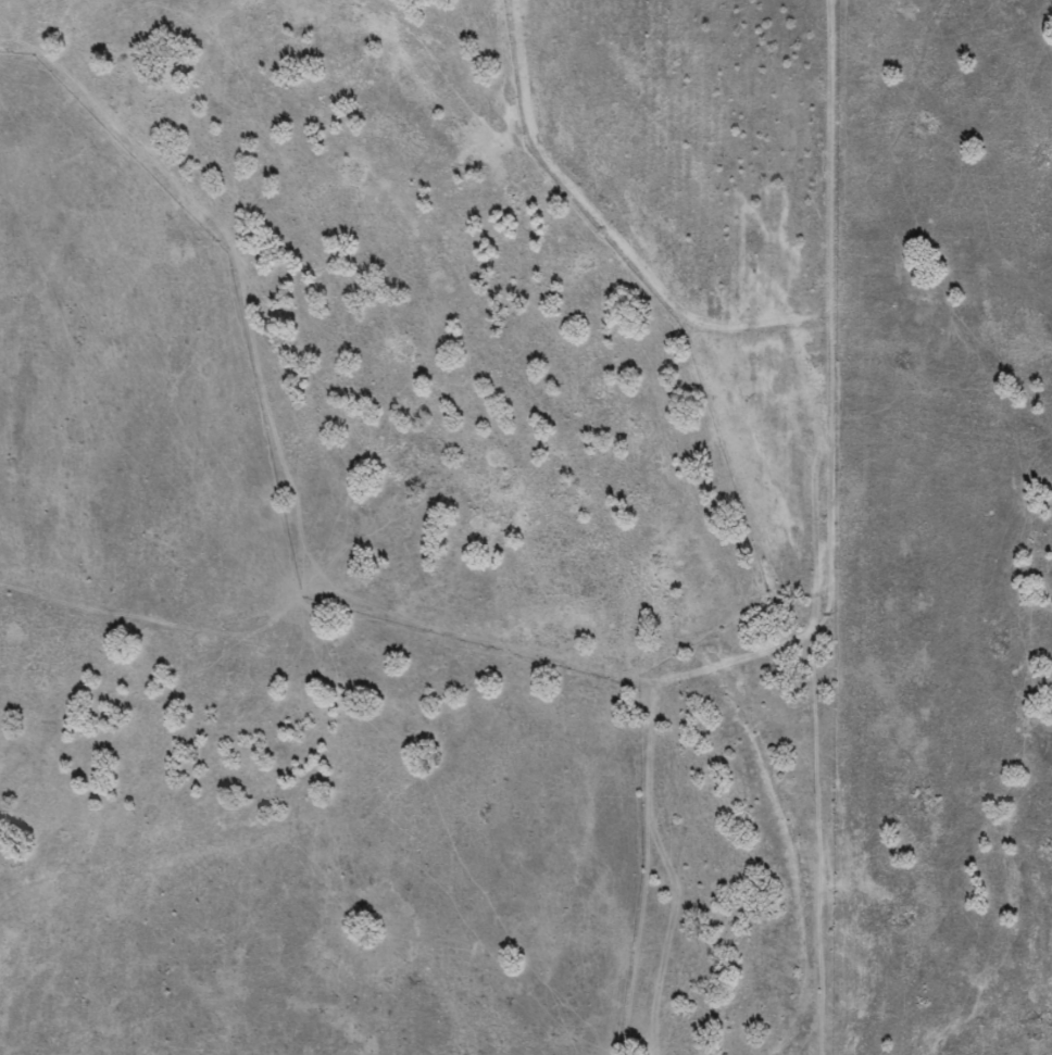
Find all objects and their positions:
road: (842, 527)

